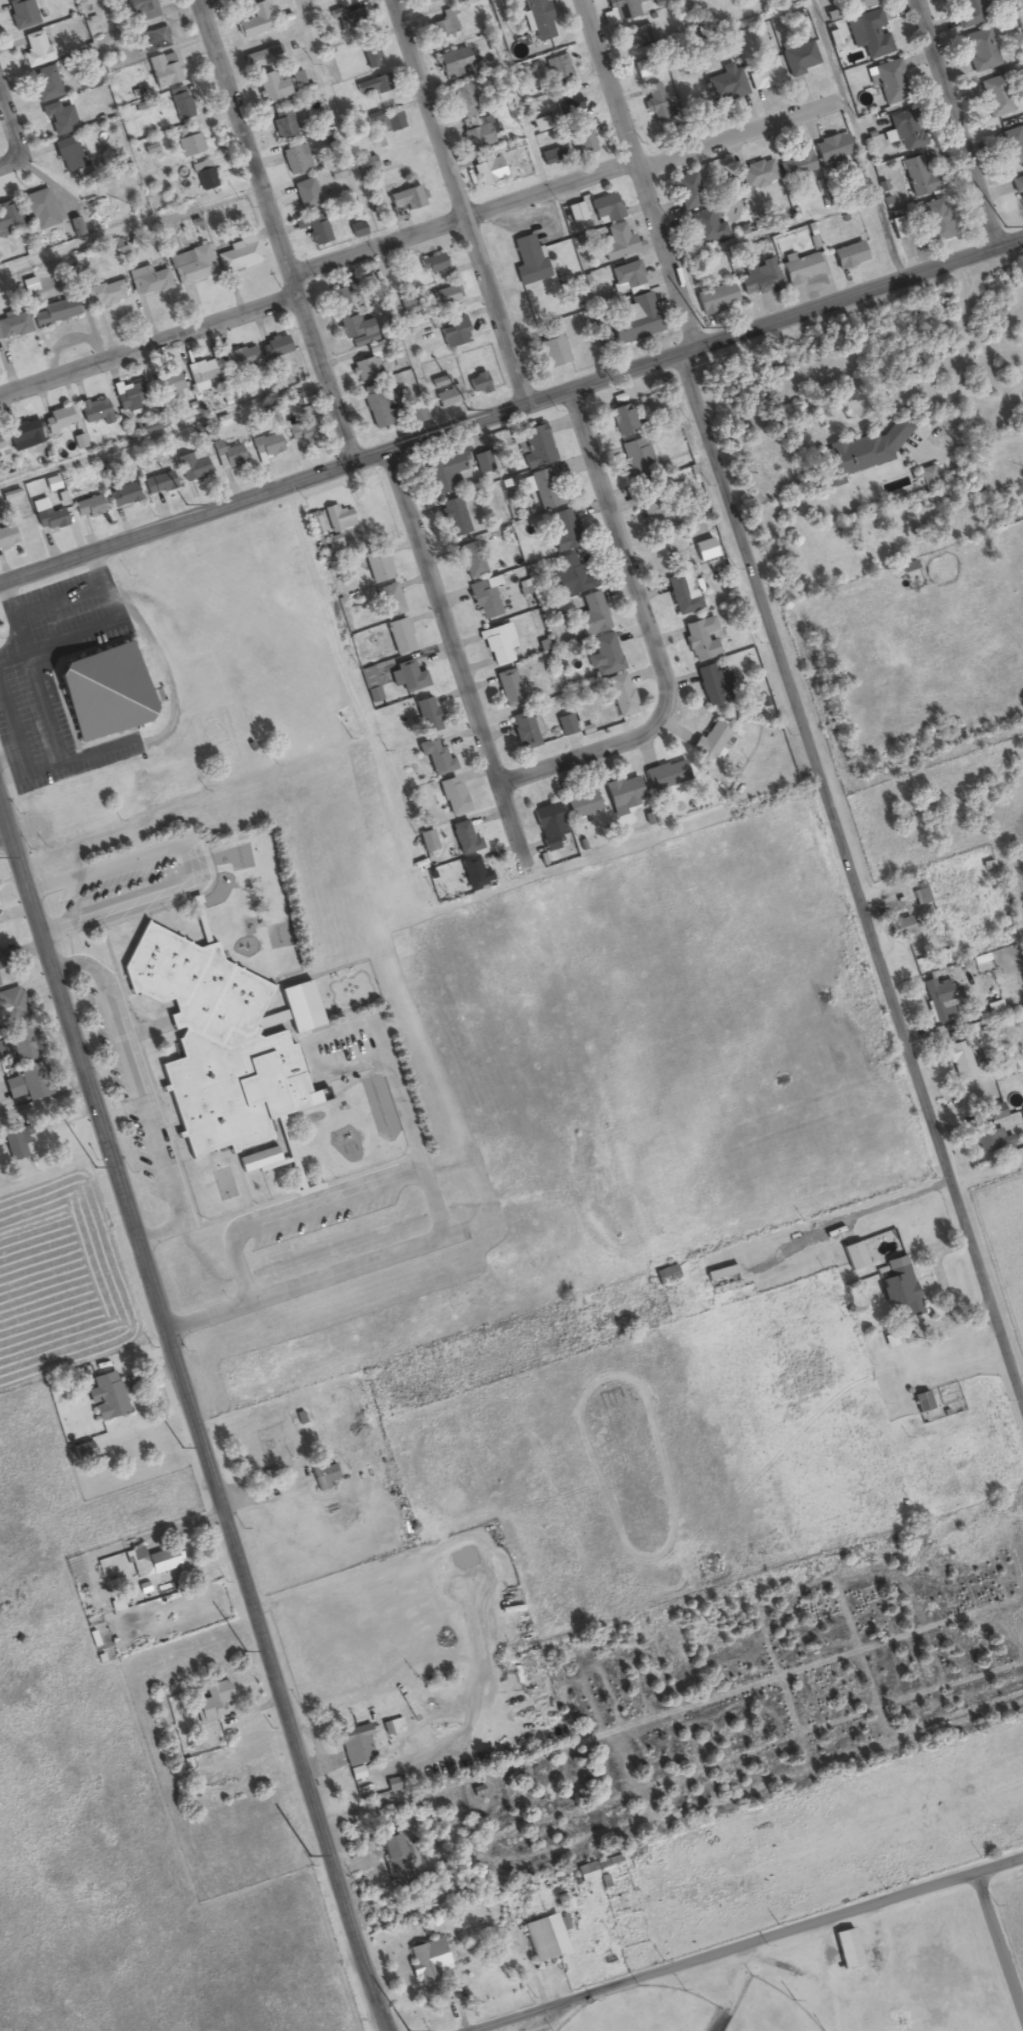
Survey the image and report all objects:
building: (857, 5)
building: (622, 9)
building: (21, 14)
building: (967, 14)
building: (353, 20)
building: (539, 20)
building: (255, 22)
building: (149, 25)
building: (445, 25)
building: (869, 35)
building: (636, 37)
building: (36, 51)
building: (980, 52)
building: (263, 56)
building: (371, 57)
building: (800, 59)
building: (453, 64)
building: (558, 69)
building: (163, 71)
building: (766, 74)
building: (726, 84)
building: (891, 84)
building: (46, 86)
building: (273, 86)
building: (374, 86)
building: (995, 98)
building: (466, 100)
building: (570, 104)
building: (657, 104)
building: (181, 105)
building: (59, 120)
building: (394, 123)
road: (952, 123)
road: (18, 124)
building: (283, 124)
building: (907, 131)
building: (478, 137)
road: (240, 138)
road: (854, 139)
building: (190, 142)
building: (585, 142)
building: (1011, 147)
building: (832, 149)
building: (70, 158)
building: (294, 161)
building: (366, 165)
building: (797, 165)
building: (488, 172)
building: (757, 175)
building: (204, 176)
building: (919, 178)
road: (563, 182)
building: (1018, 191)
building: (687, 192)
building: (306, 195)
building: (406, 200)
road: (457, 204)
building: (39, 210)
building: (606, 210)
building: (574, 214)
building: (9, 219)
building: (936, 222)
building: (706, 226)
power tower: (1005, 226)
building: (317, 230)
building: (355, 230)
building: (617, 244)
building: (238, 256)
building: (849, 257)
building: (529, 262)
building: (432, 264)
building: (192, 266)
building: (800, 268)
building: (627, 277)
building: (759, 278)
building: (148, 282)
road: (292, 283)
building: (29, 286)
building: (107, 295)
building: (445, 296)
building: (716, 299)
building: (56, 313)
building: (349, 319)
building: (635, 320)
building: (14, 327)
power tower: (703, 328)
building: (454, 333)
road: (148, 345)
building: (274, 348)
building: (553, 348)
building: (240, 359)
building: (366, 368)
building: (204, 371)
road: (328, 378)
building: (169, 384)
building: (478, 384)
building: (131, 397)
building: (448, 397)
building: (302, 398)
building: (377, 406)
power tower: (470, 407)
building: (94, 411)
road: (512, 412)
building: (416, 414)
building: (57, 420)
building: (621, 420)
building: (304, 427)
building: (22, 436)
building: (265, 446)
building: (535, 446)
building: (0, 449)
building: (861, 453)
building: (227, 456)
building: (638, 459)
building: (483, 462)
building: (192, 468)
building: (446, 472)
building: (158, 484)
building: (547, 490)
building: (123, 496)
power tower: (188, 504)
building: (87, 508)
building: (655, 512)
building: (453, 517)
building: (338, 518)
building: (49, 519)
building: (564, 531)
building: (7, 537)
building: (470, 560)
building: (377, 566)
building: (570, 578)
building: (682, 593)
building: (484, 600)
building: (389, 601)
building: (591, 616)
road: (654, 631)
building: (400, 636)
building: (700, 639)
building: (497, 645)
road: (461, 646)
building: (604, 657)
building: (407, 677)
building: (711, 684)
building: (508, 688)
building: (100, 692)
building: (621, 696)
road: (796, 698)
building: (427, 715)
building: (566, 725)
building: (524, 731)
building: (710, 742)
building: (435, 757)
building: (663, 776)
building: (624, 795)
building: (453, 797)
building: (582, 805)
building: (548, 826)
road: (5, 835)
building: (463, 840)
building: (428, 841)
building: (474, 874)
building: (921, 895)
building: (903, 927)
building: (923, 967)
building: (940, 1001)
building: (12, 1008)
building: (21, 1045)
building: (225, 1049)
building: (959, 1061)
building: (29, 1083)
building: (995, 1112)
building: (1021, 1115)
building: (991, 1140)
building: (15, 1145)
power tower: (94, 1166)
building: (853, 1257)
building: (723, 1280)
building: (899, 1294)
building: (106, 1397)
building: (922, 1403)
road: (193, 1415)
power tower: (183, 1446)
building: (257, 1455)
building: (324, 1477)
building: (153, 1562)
power tower: (245, 1651)
building: (212, 1703)
building: (356, 1746)
building: (392, 1853)
power tower: (309, 1855)
building: (586, 1873)
building: (539, 1940)
road: (750, 1945)
road: (998, 1948)
building: (847, 1949)
building: (428, 1962)
park: (838, 1980)
power tower: (406, 2030)

